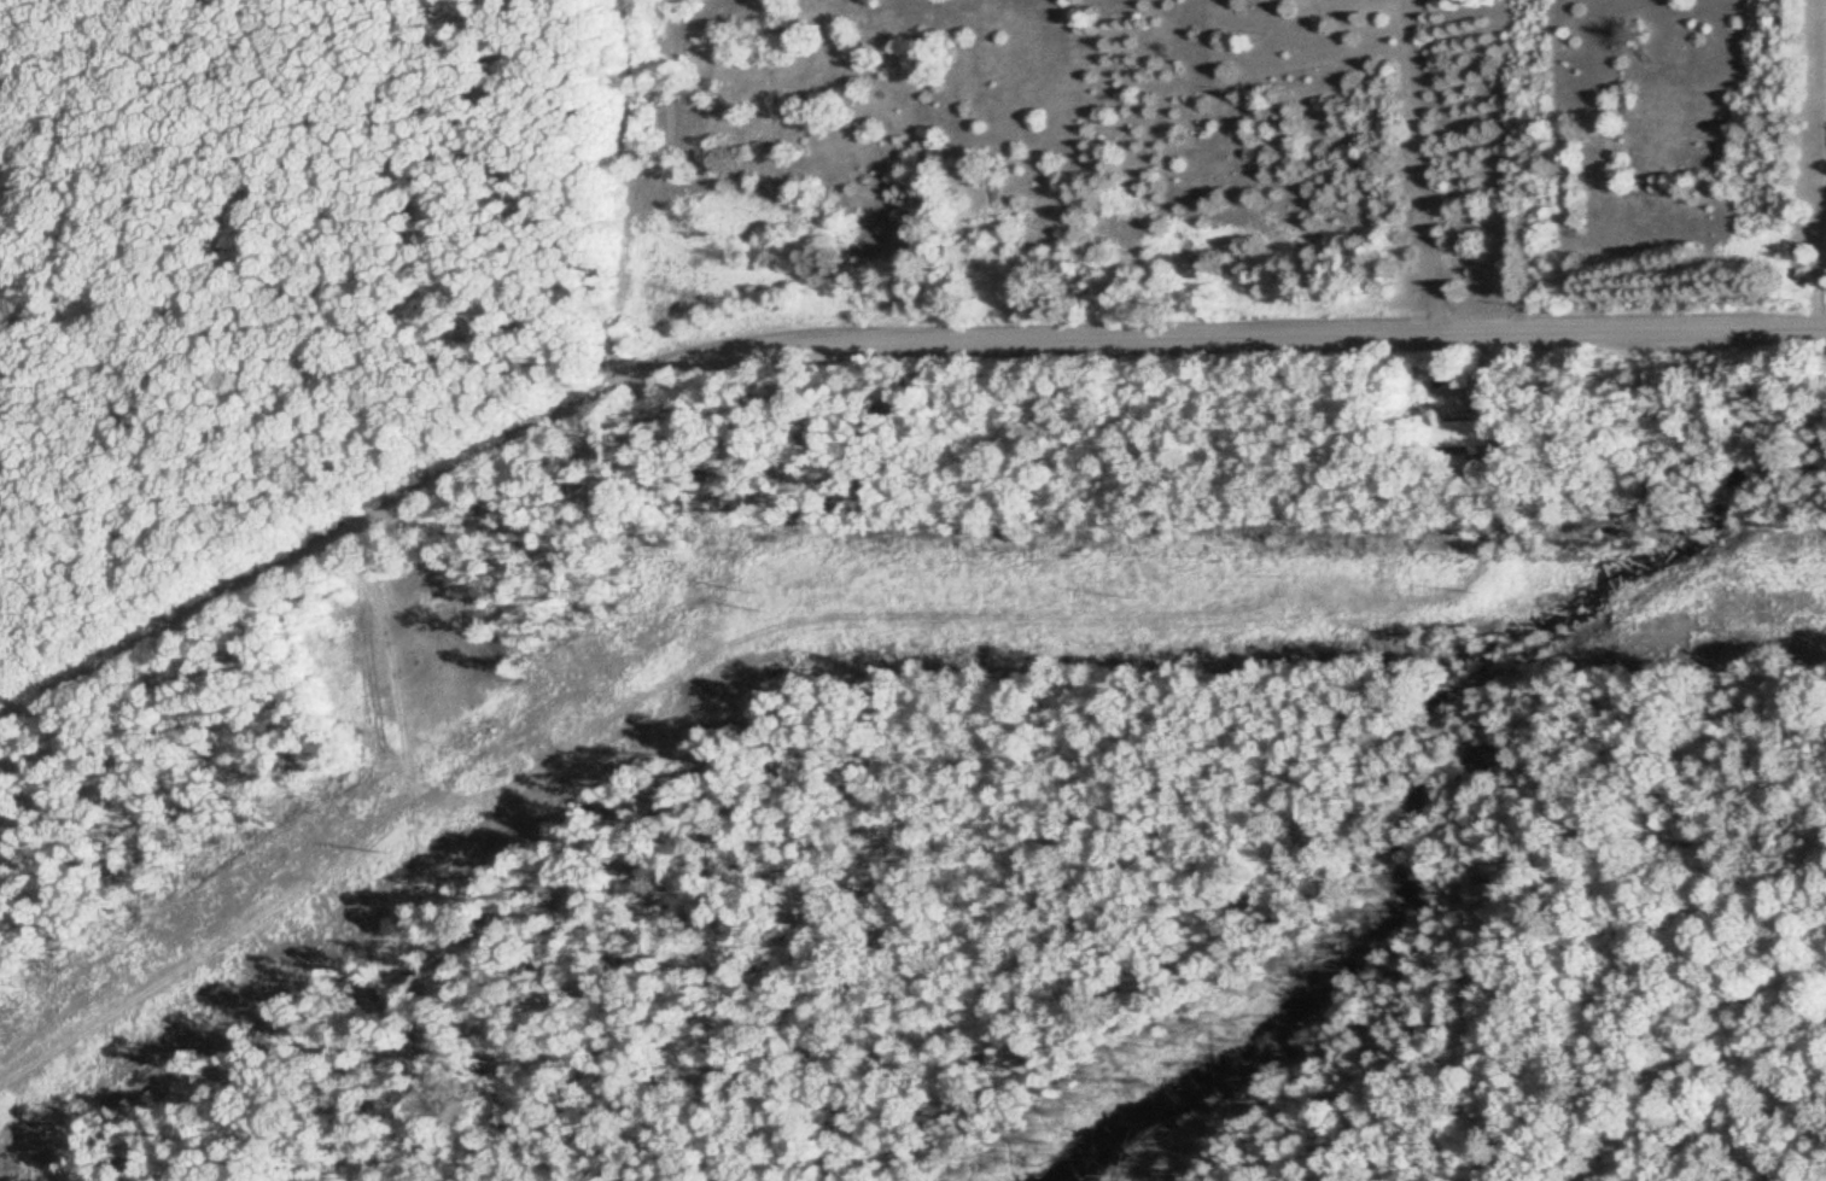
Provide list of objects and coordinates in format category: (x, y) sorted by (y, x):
road: (865, 338)
building: (1464, 433)
river: (1408, 801)

